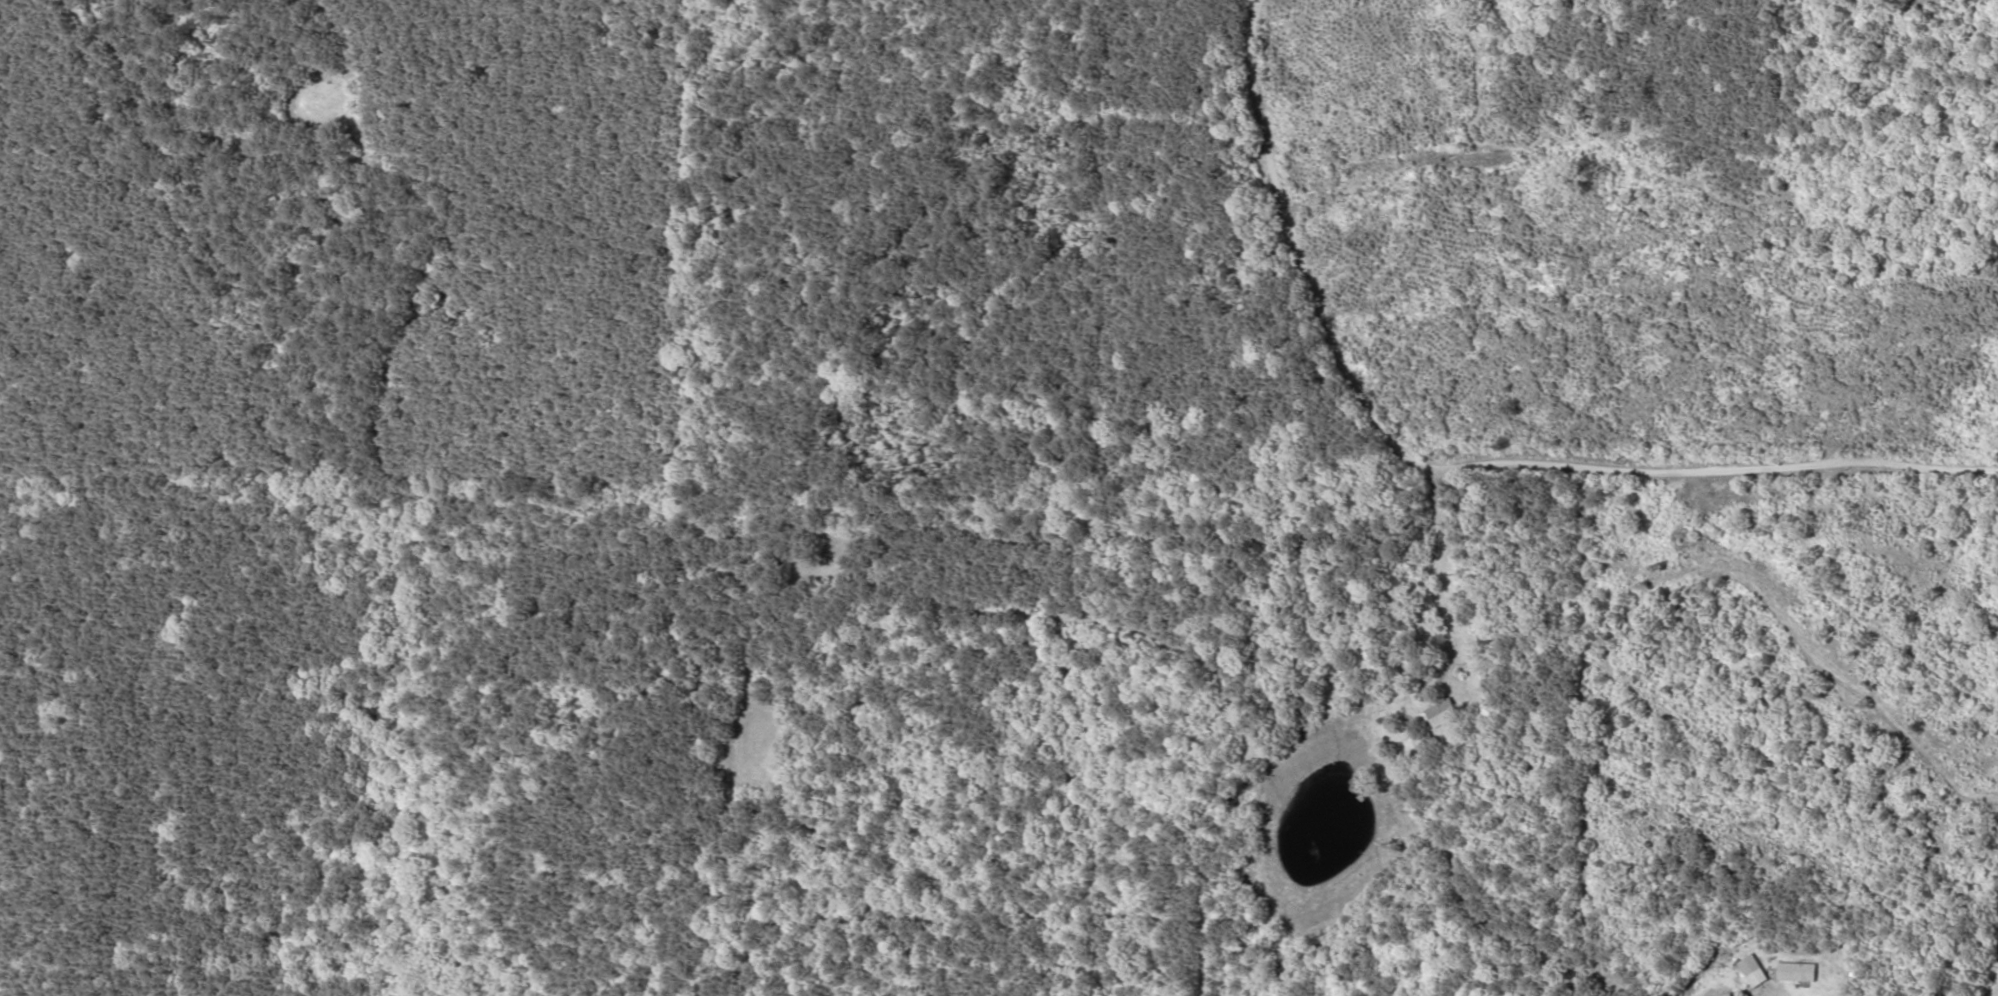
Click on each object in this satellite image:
road: (1454, 470)
road: (1436, 578)
building: (1442, 712)
building: (1798, 971)
building: (1752, 972)
building: (1725, 994)

